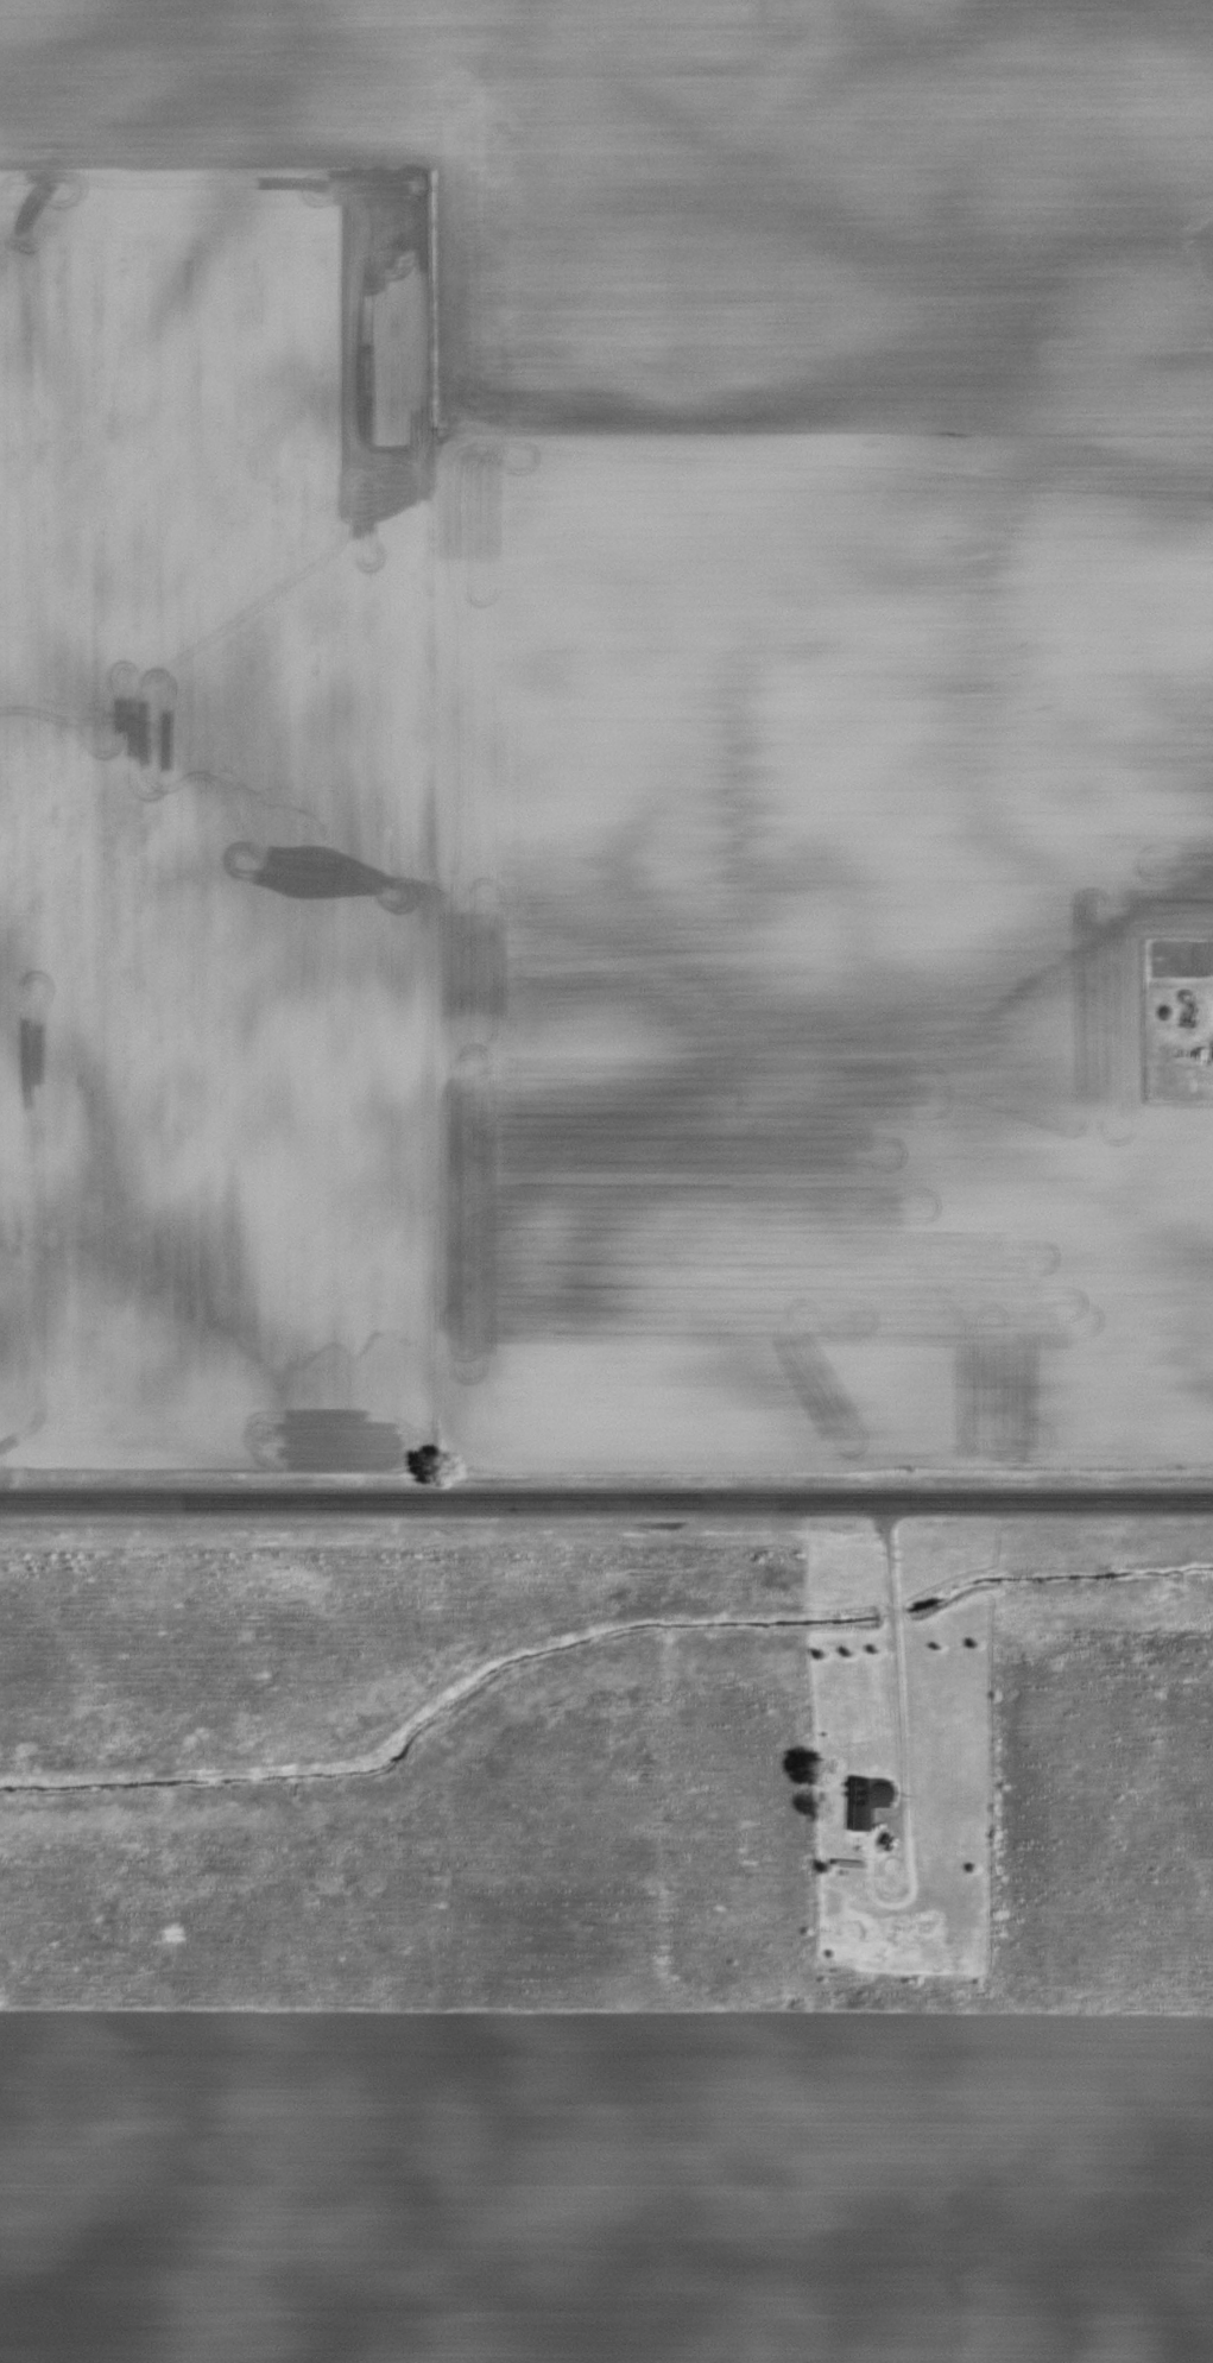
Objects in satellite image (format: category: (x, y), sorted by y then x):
road: (606, 1502)
road: (898, 1664)
building: (867, 1800)

